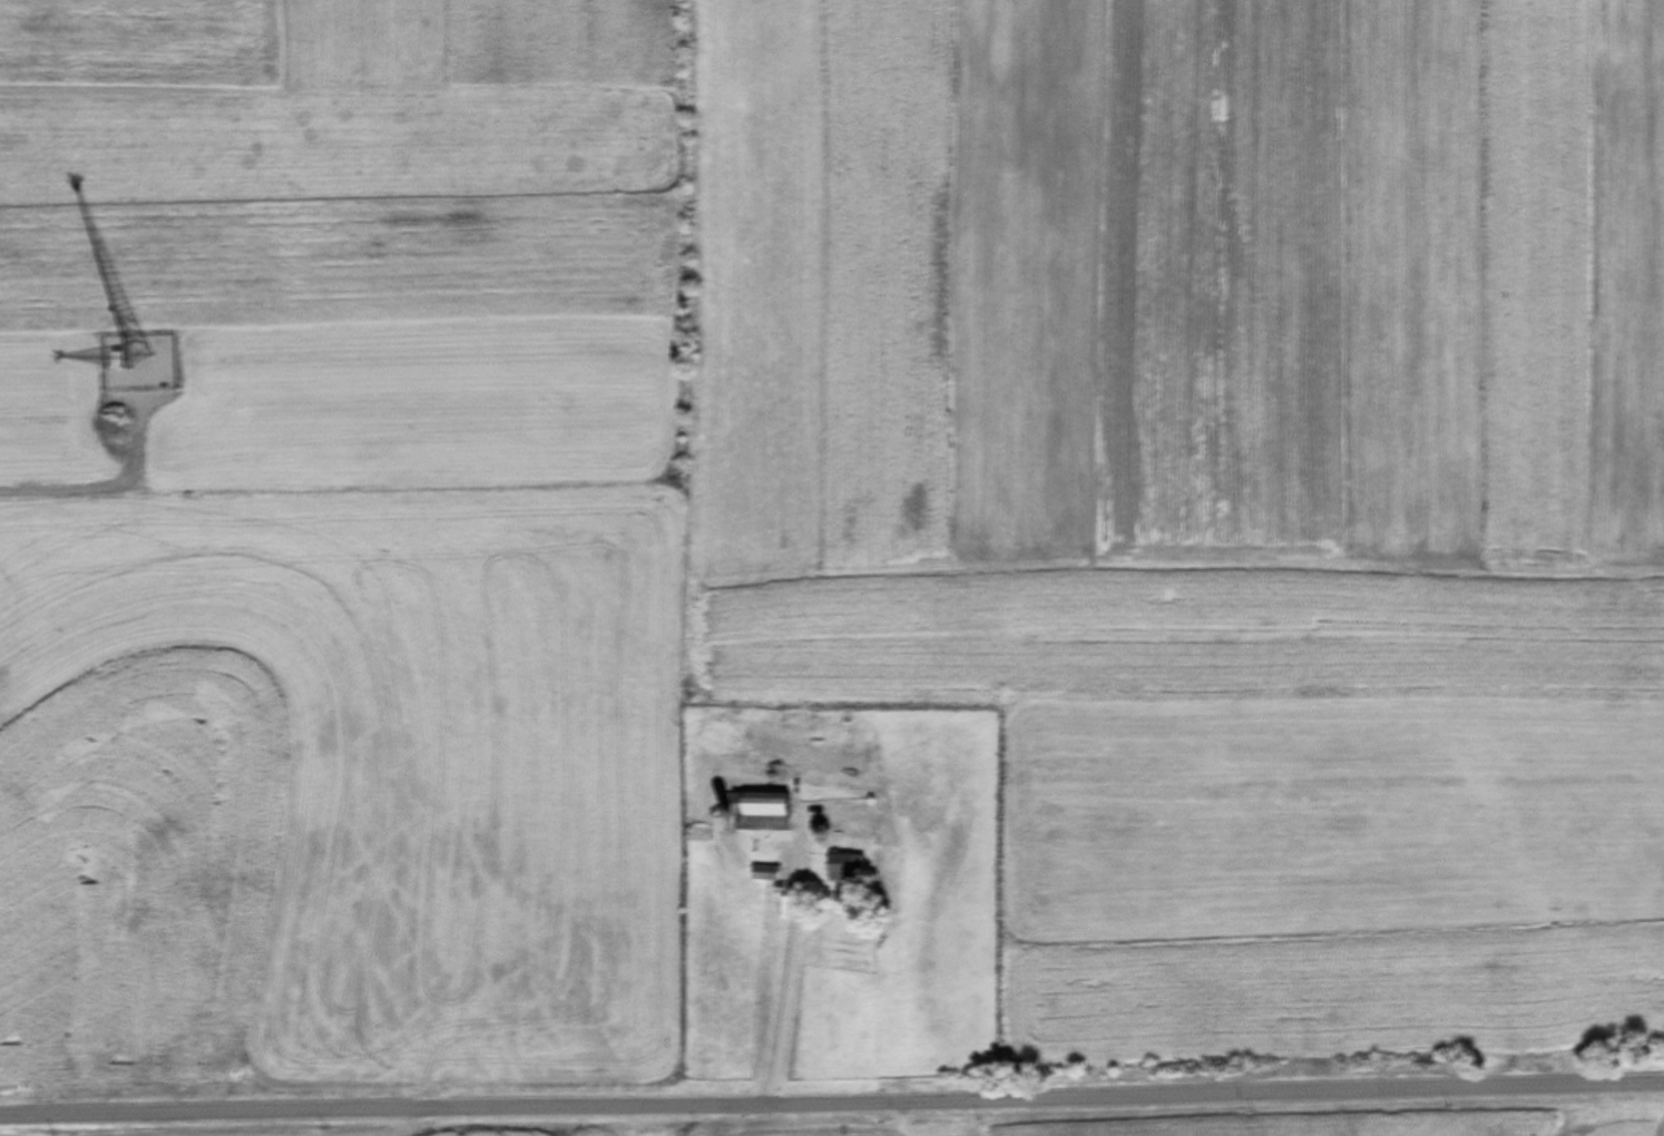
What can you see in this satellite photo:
building: (756, 812)
building: (842, 868)
road: (832, 1103)

